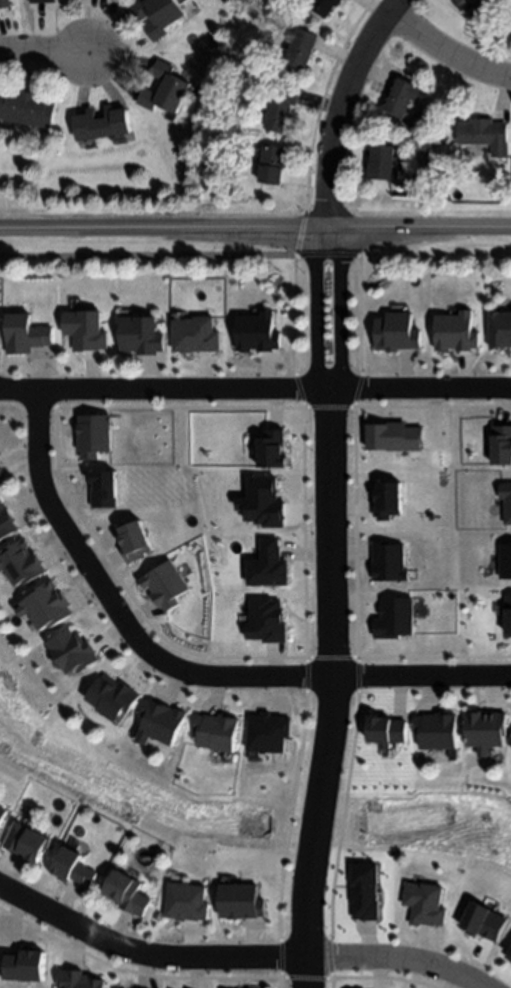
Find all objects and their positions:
building: (43, 1)
building: (4, 4)
building: (468, 4)
building: (324, 6)
building: (158, 15)
building: (301, 48)
road: (44, 53)
road: (447, 55)
building: (164, 89)
building: (403, 97)
road: (323, 99)
road: (340, 106)
building: (27, 107)
building: (280, 107)
building: (101, 124)
building: (485, 135)
building: (382, 163)
building: (271, 165)
road: (255, 230)
road: (337, 310)
road: (312, 311)
building: (143, 336)
road: (273, 392)
road: (17, 393)
building: (2, 477)
road: (200, 535)
road: (454, 535)
road: (178, 675)
road: (330, 690)
building: (108, 701)
building: (213, 737)
park: (259, 805)
building: (3, 817)
building: (27, 841)
building: (74, 866)
building: (130, 892)
road: (235, 961)

